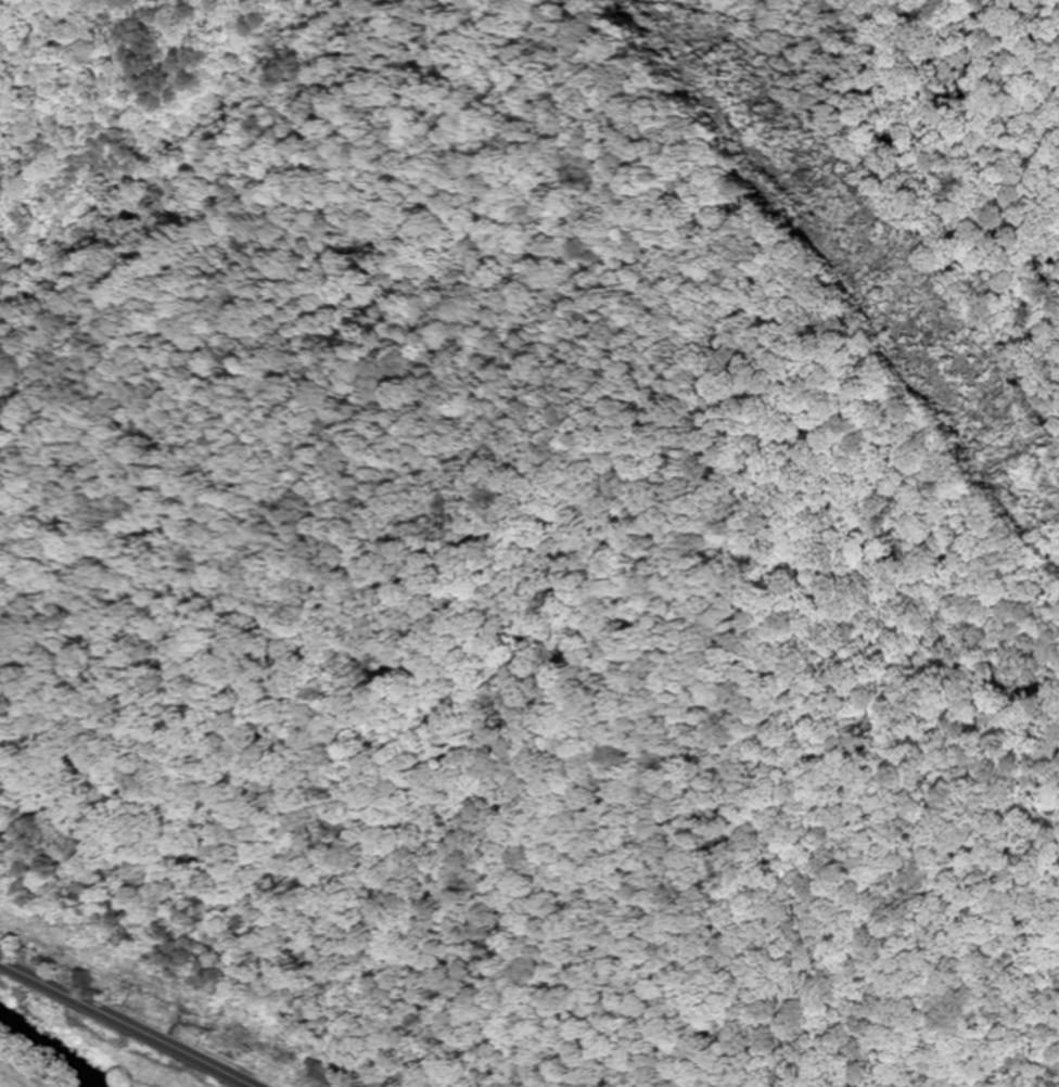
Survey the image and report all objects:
road: (129, 1022)
river: (58, 1050)
building: (339, 1075)

